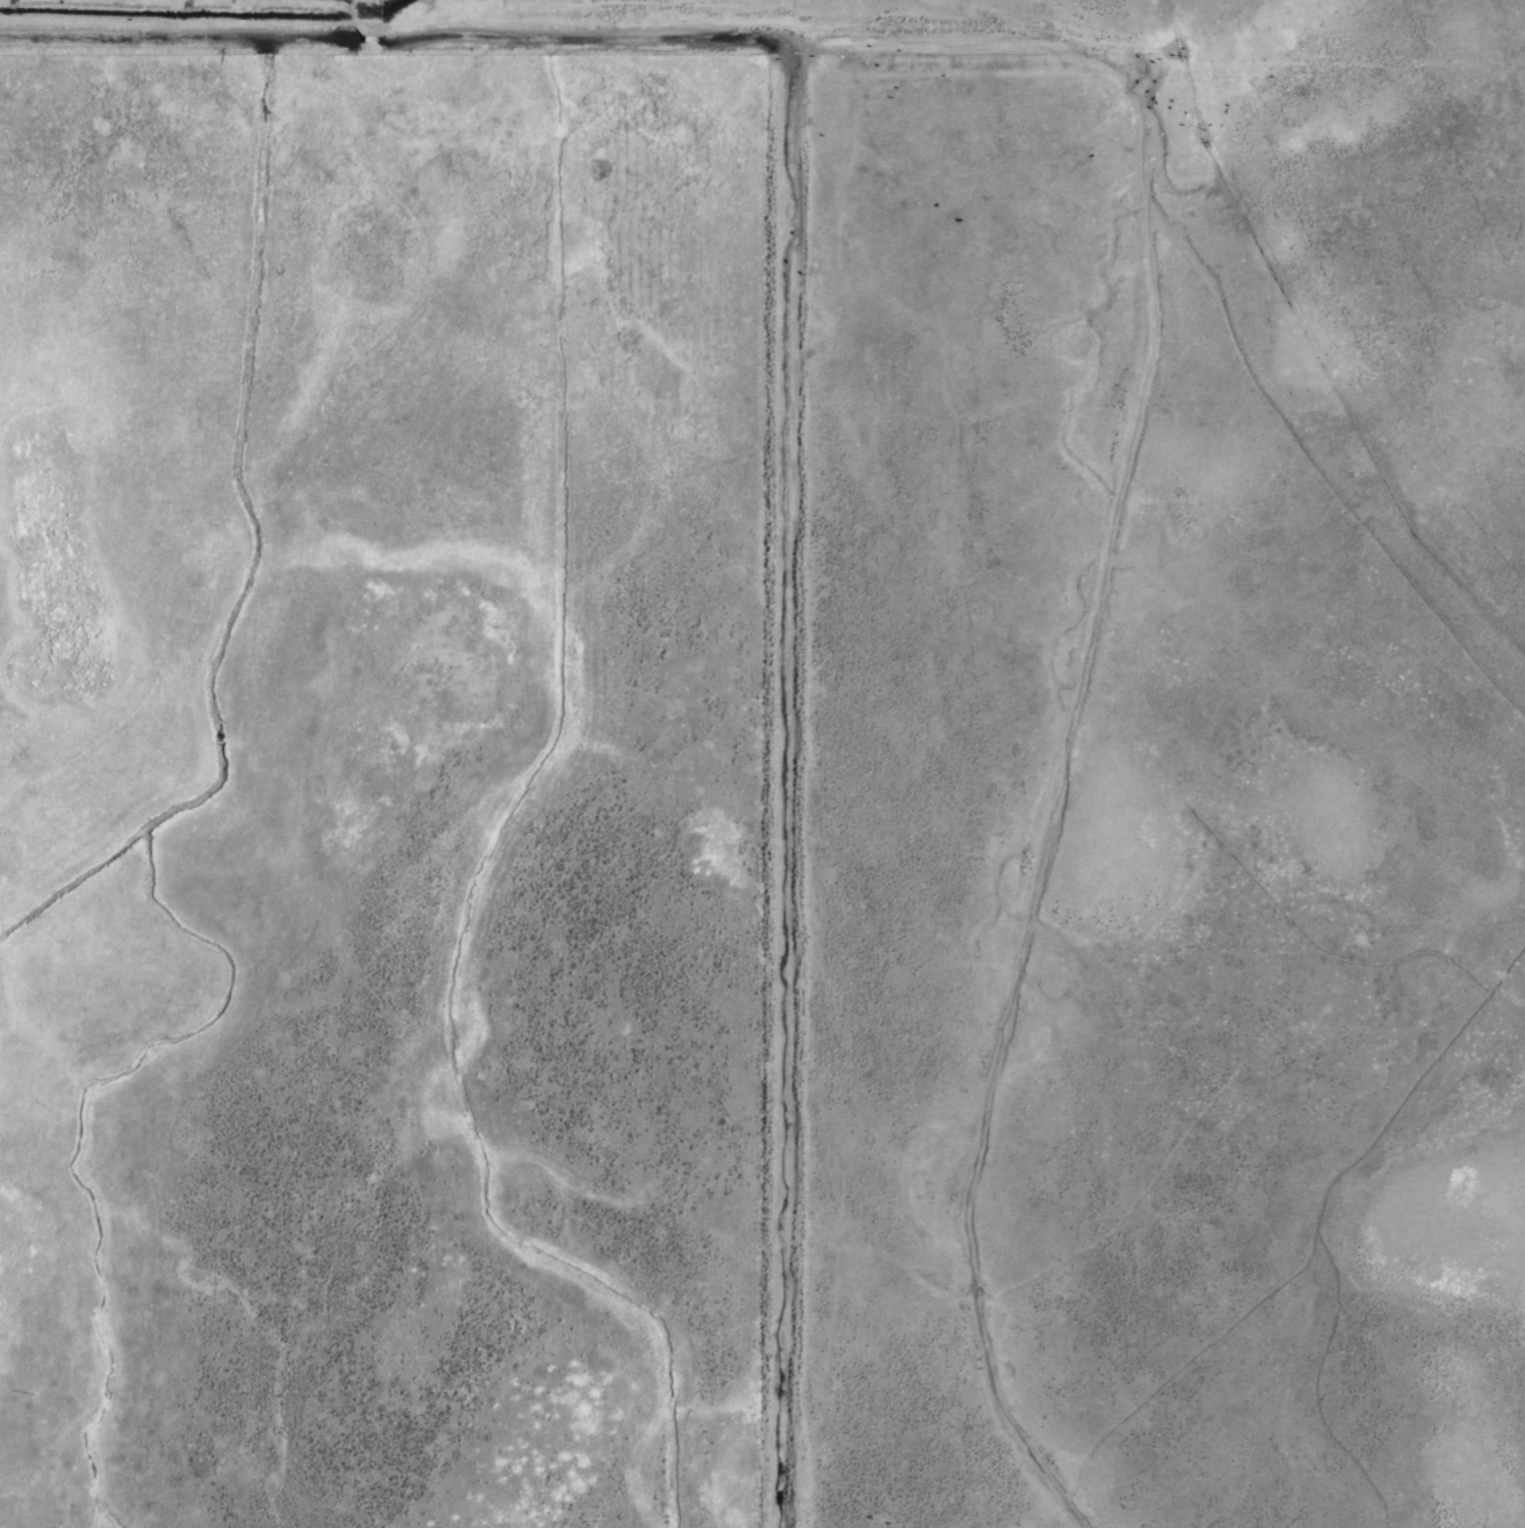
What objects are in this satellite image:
crop: (173, 21)
crop: (766, 768)

